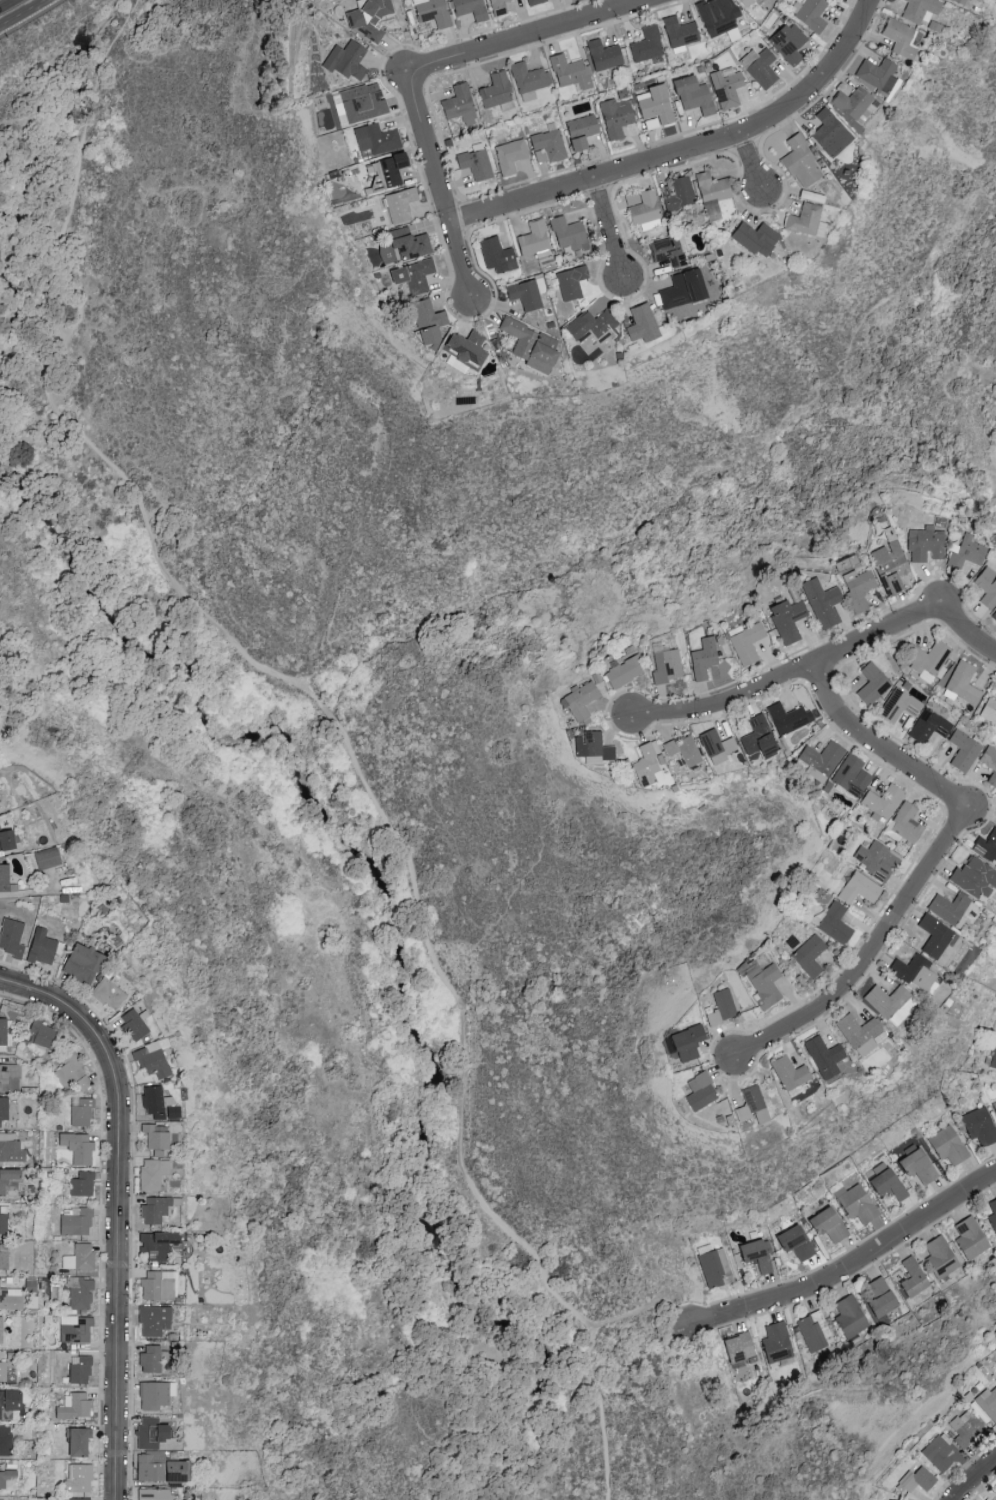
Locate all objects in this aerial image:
building: (959, 1)
road: (4, 2)
building: (533, 2)
building: (743, 2)
building: (495, 7)
building: (467, 9)
building: (917, 9)
building: (429, 12)
building: (807, 13)
road: (24, 14)
building: (714, 15)
building: (367, 17)
building: (677, 33)
road: (531, 36)
building: (897, 37)
building: (786, 41)
building: (645, 44)
building: (601, 55)
building: (344, 61)
building: (757, 67)
building: (568, 72)
building: (873, 75)
building: (527, 80)
building: (725, 88)
building: (494, 91)
building: (690, 95)
building: (360, 102)
building: (456, 104)
building: (850, 104)
building: (653, 106)
building: (613, 118)
building: (578, 131)
building: (827, 133)
building: (374, 138)
building: (547, 144)
road: (690, 153)
building: (508, 156)
building: (798, 161)
building: (474, 163)
road: (752, 164)
building: (388, 169)
road: (77, 186)
road: (440, 186)
building: (676, 193)
building: (710, 194)
building: (398, 204)
building: (642, 210)
building: (804, 220)
building: (566, 232)
road: (609, 232)
building: (753, 237)
building: (532, 239)
building: (401, 245)
building: (665, 251)
building: (494, 255)
building: (410, 275)
building: (569, 282)
building: (680, 289)
building: (523, 294)
building: (423, 321)
building: (640, 324)
building: (592, 327)
building: (527, 344)
road: (8, 348)
building: (461, 348)
road: (20, 363)
road: (38, 386)
road: (675, 502)
building: (923, 545)
building: (965, 553)
road: (159, 557)
building: (889, 570)
building: (986, 586)
building: (858, 590)
building: (823, 604)
building: (993, 616)
building: (787, 622)
building: (747, 645)
building: (704, 659)
building: (927, 659)
road: (826, 661)
building: (667, 668)
building: (625, 672)
building: (962, 684)
building: (873, 686)
building: (581, 702)
building: (899, 707)
road: (324, 710)
building: (989, 715)
building: (788, 720)
building: (928, 728)
building: (759, 739)
building: (717, 748)
building: (593, 749)
building: (684, 751)
park: (419, 752)
building: (963, 752)
building: (822, 759)
building: (990, 765)
building: (647, 767)
building: (851, 778)
building: (883, 803)
building: (995, 804)
building: (907, 824)
building: (9, 840)
building: (985, 850)
building: (48, 857)
building: (877, 862)
road: (932, 864)
building: (6, 879)
building: (975, 881)
building: (859, 889)
building: (949, 909)
building: (834, 925)
building: (13, 937)
building: (935, 938)
building: (42, 947)
building: (809, 957)
building: (88, 961)
building: (914, 974)
building: (765, 986)
building: (110, 993)
building: (887, 1002)
building: (721, 1010)
building: (135, 1024)
building: (43, 1033)
road: (461, 1033)
building: (859, 1034)
building: (688, 1043)
building: (824, 1058)
building: (153, 1060)
building: (993, 1061)
building: (70, 1070)
building: (789, 1074)
building: (82, 1082)
building: (700, 1092)
building: (160, 1104)
building: (750, 1104)
building: (994, 1108)
building: (4, 1109)
building: (82, 1111)
building: (979, 1128)
building: (158, 1138)
building: (947, 1146)
building: (80, 1148)
building: (4, 1149)
building: (917, 1167)
building: (155, 1173)
building: (84, 1184)
building: (889, 1186)
building: (857, 1205)
road: (119, 1209)
building: (157, 1210)
building: (993, 1217)
building: (4, 1219)
building: (78, 1221)
building: (828, 1226)
building: (971, 1240)
building: (159, 1244)
building: (794, 1244)
building: (4, 1256)
building: (81, 1257)
building: (756, 1257)
building: (940, 1260)
building: (715, 1270)
road: (848, 1272)
building: (914, 1278)
building: (159, 1285)
building: (81, 1293)
building: (11, 1298)
building: (881, 1299)
building: (850, 1318)
building: (155, 1320)
building: (2, 1329)
building: (814, 1333)
building: (777, 1344)
building: (739, 1349)
building: (151, 1359)
road: (590, 1363)
building: (82, 1369)
building: (3, 1371)
building: (155, 1395)
building: (12, 1400)
building: (76, 1406)
building: (987, 1408)
building: (966, 1432)
building: (154, 1433)
building: (6, 1440)
building: (81, 1441)
building: (937, 1454)
building: (164, 1468)
building: (7, 1477)
building: (80, 1478)
road: (975, 1479)
building: (916, 1481)
building: (995, 1492)
building: (155, 1494)
building: (76, 1499)
building: (995, 1499)

